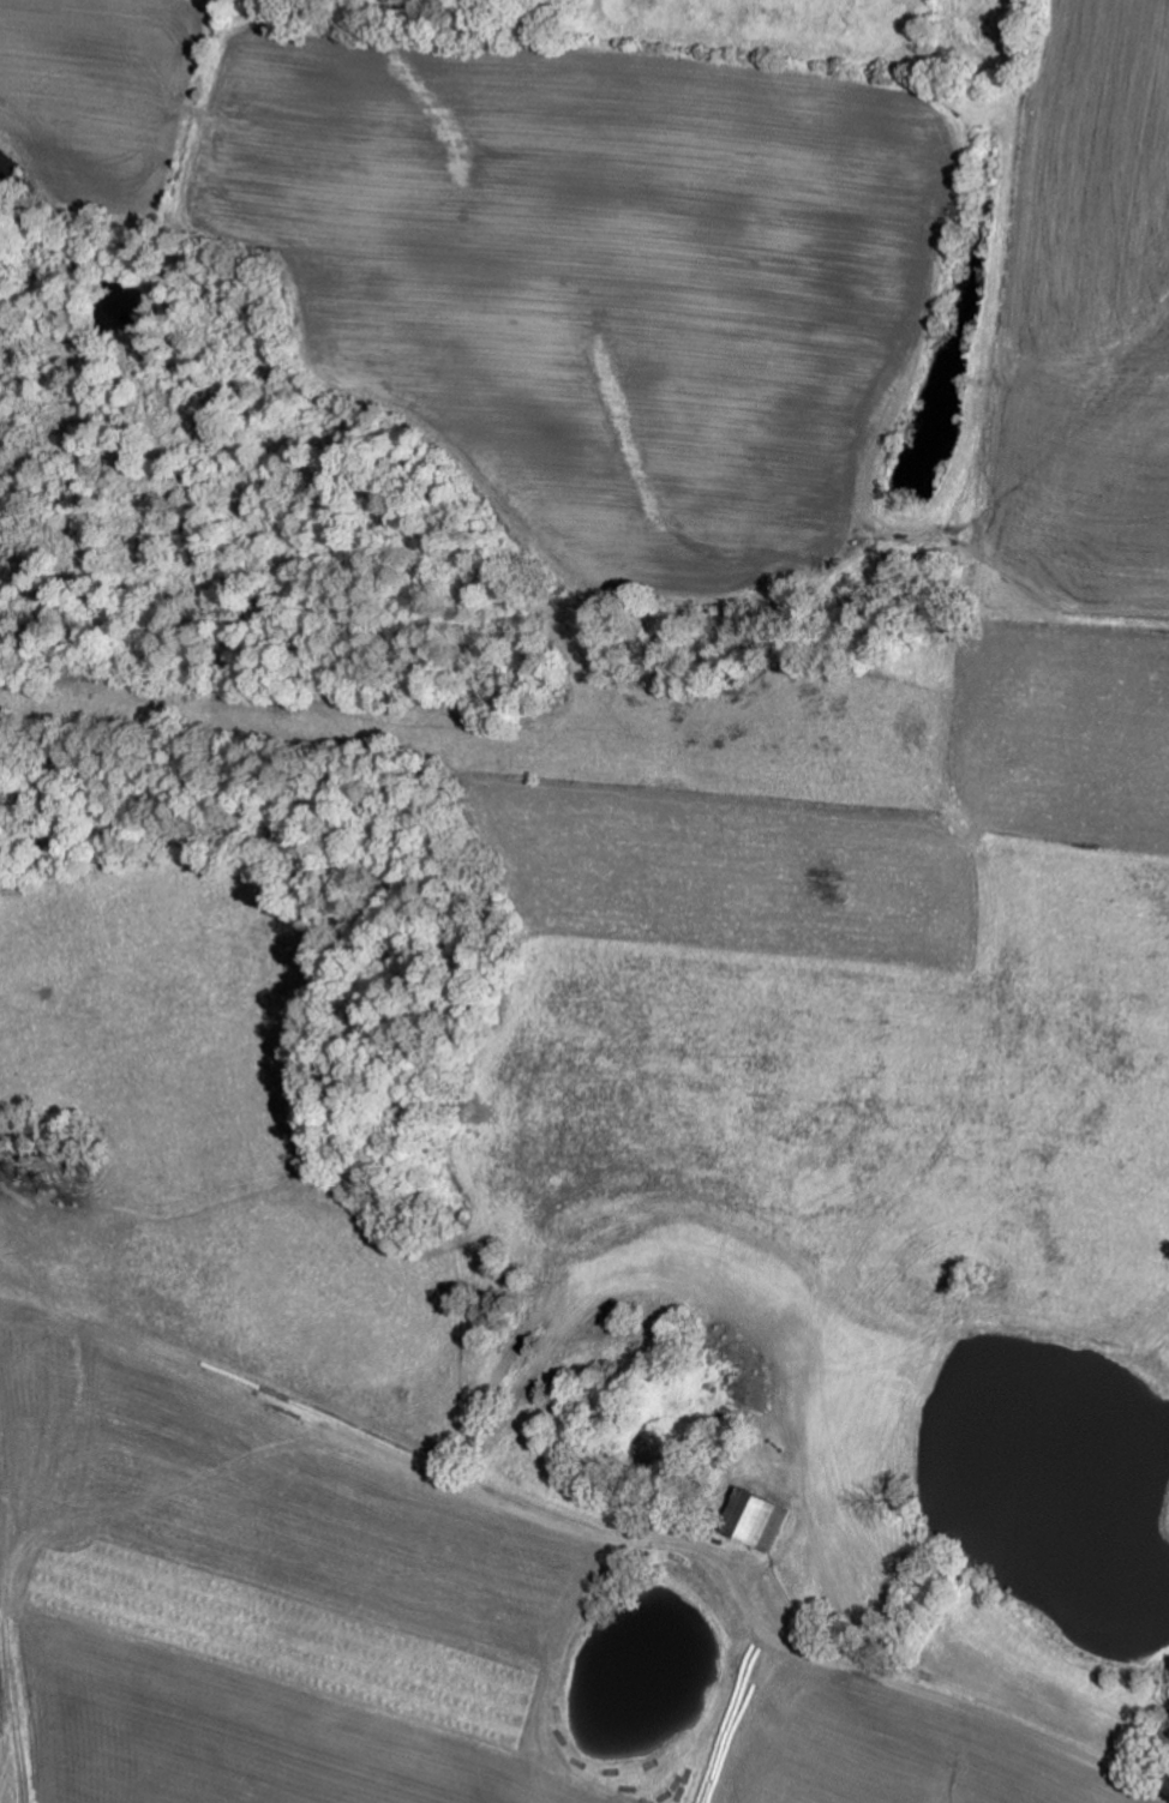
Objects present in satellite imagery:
building: (762, 1520)

